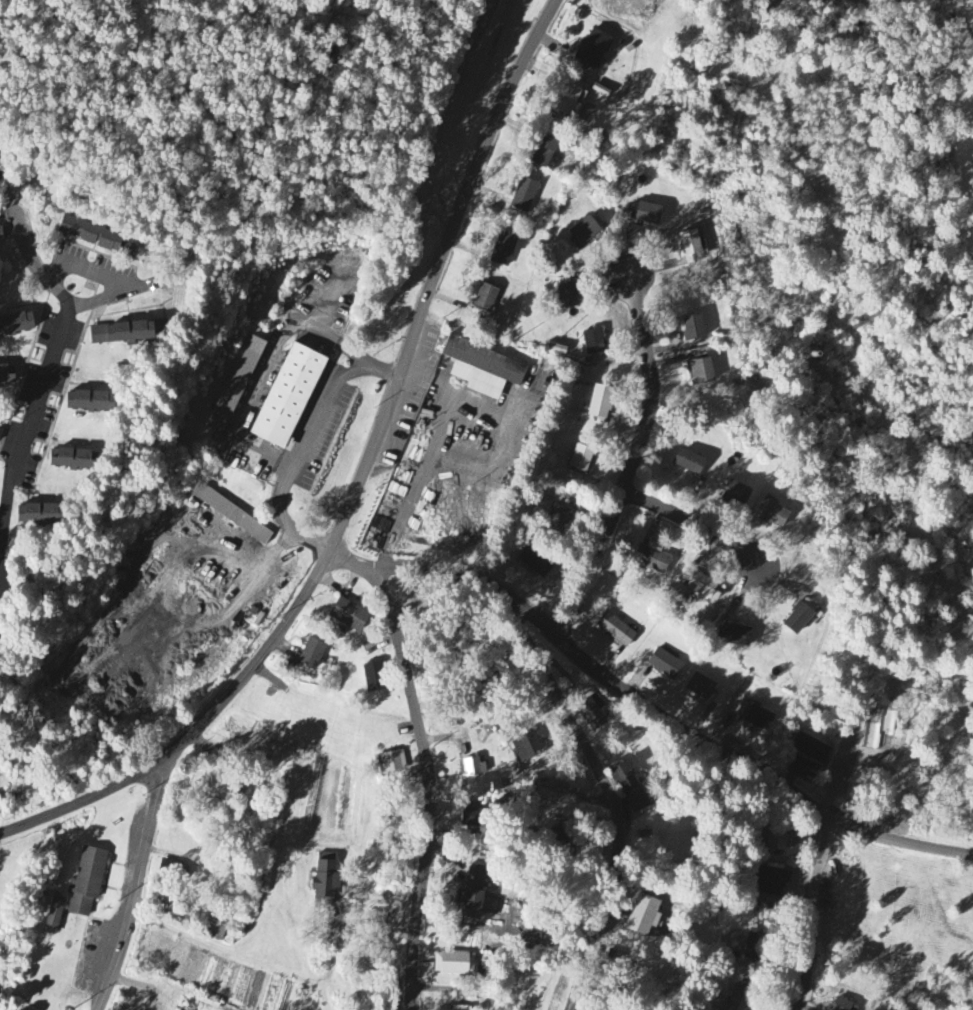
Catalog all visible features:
building: (962, 0)
building: (592, 50)
building: (568, 102)
building: (543, 152)
building: (523, 196)
building: (646, 214)
building: (584, 232)
building: (0, 235)
building: (89, 235)
power tower: (407, 235)
building: (689, 243)
building: (503, 249)
road: (109, 276)
building: (568, 296)
building: (485, 298)
building: (15, 324)
building: (693, 329)
building: (120, 334)
building: (593, 343)
road: (53, 358)
building: (482, 369)
building: (702, 372)
building: (6, 375)
building: (237, 386)
building: (287, 398)
building: (88, 402)
building: (600, 403)
road: (301, 448)
building: (580, 459)
building: (68, 460)
road: (632, 462)
building: (689, 463)
road: (358, 483)
building: (736, 494)
building: (37, 515)
building: (233, 516)
building: (774, 516)
building: (559, 519)
road: (692, 528)
road: (241, 558)
building: (651, 558)
building: (535, 563)
building: (700, 586)
building: (348, 616)
building: (797, 620)
building: (615, 631)
building: (738, 637)
power tower: (221, 655)
building: (311, 655)
building: (665, 665)
building: (373, 678)
building: (700, 687)
road: (663, 708)
building: (592, 713)
building: (759, 720)
building: (527, 749)
building: (811, 750)
building: (393, 763)
road: (428, 764)
building: (472, 768)
building: (624, 779)
building: (527, 790)
building: (220, 793)
power tower: (145, 797)
road: (612, 799)
building: (638, 803)
building: (565, 810)
building: (469, 819)
building: (172, 871)
building: (474, 879)
building: (325, 882)
building: (87, 883)
building: (771, 883)
road: (140, 884)
building: (165, 898)
building: (469, 907)
road: (812, 914)
building: (54, 917)
building: (643, 917)
building: (215, 932)
building: (753, 947)
building: (453, 965)
building: (741, 997)
power tower: (71, 1006)
building: (843, 1006)

